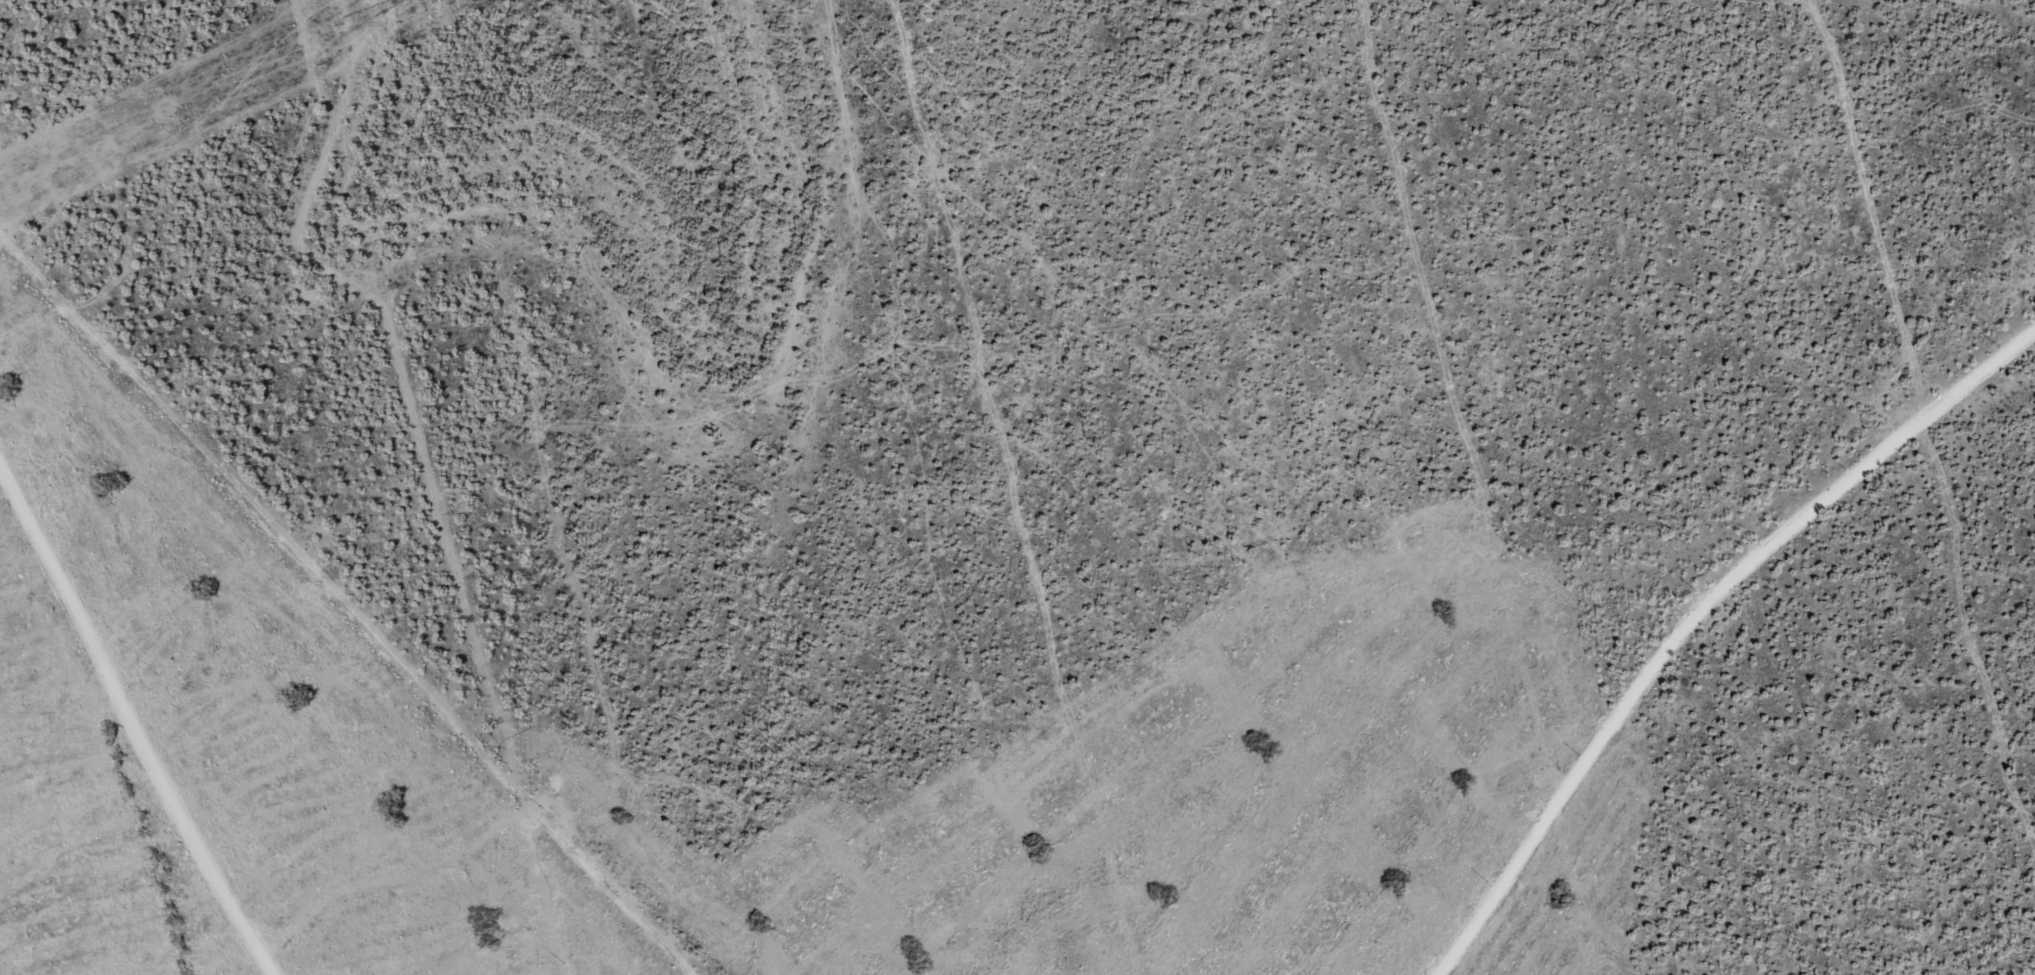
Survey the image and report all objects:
power tower: (342, 24)
road: (119, 733)

